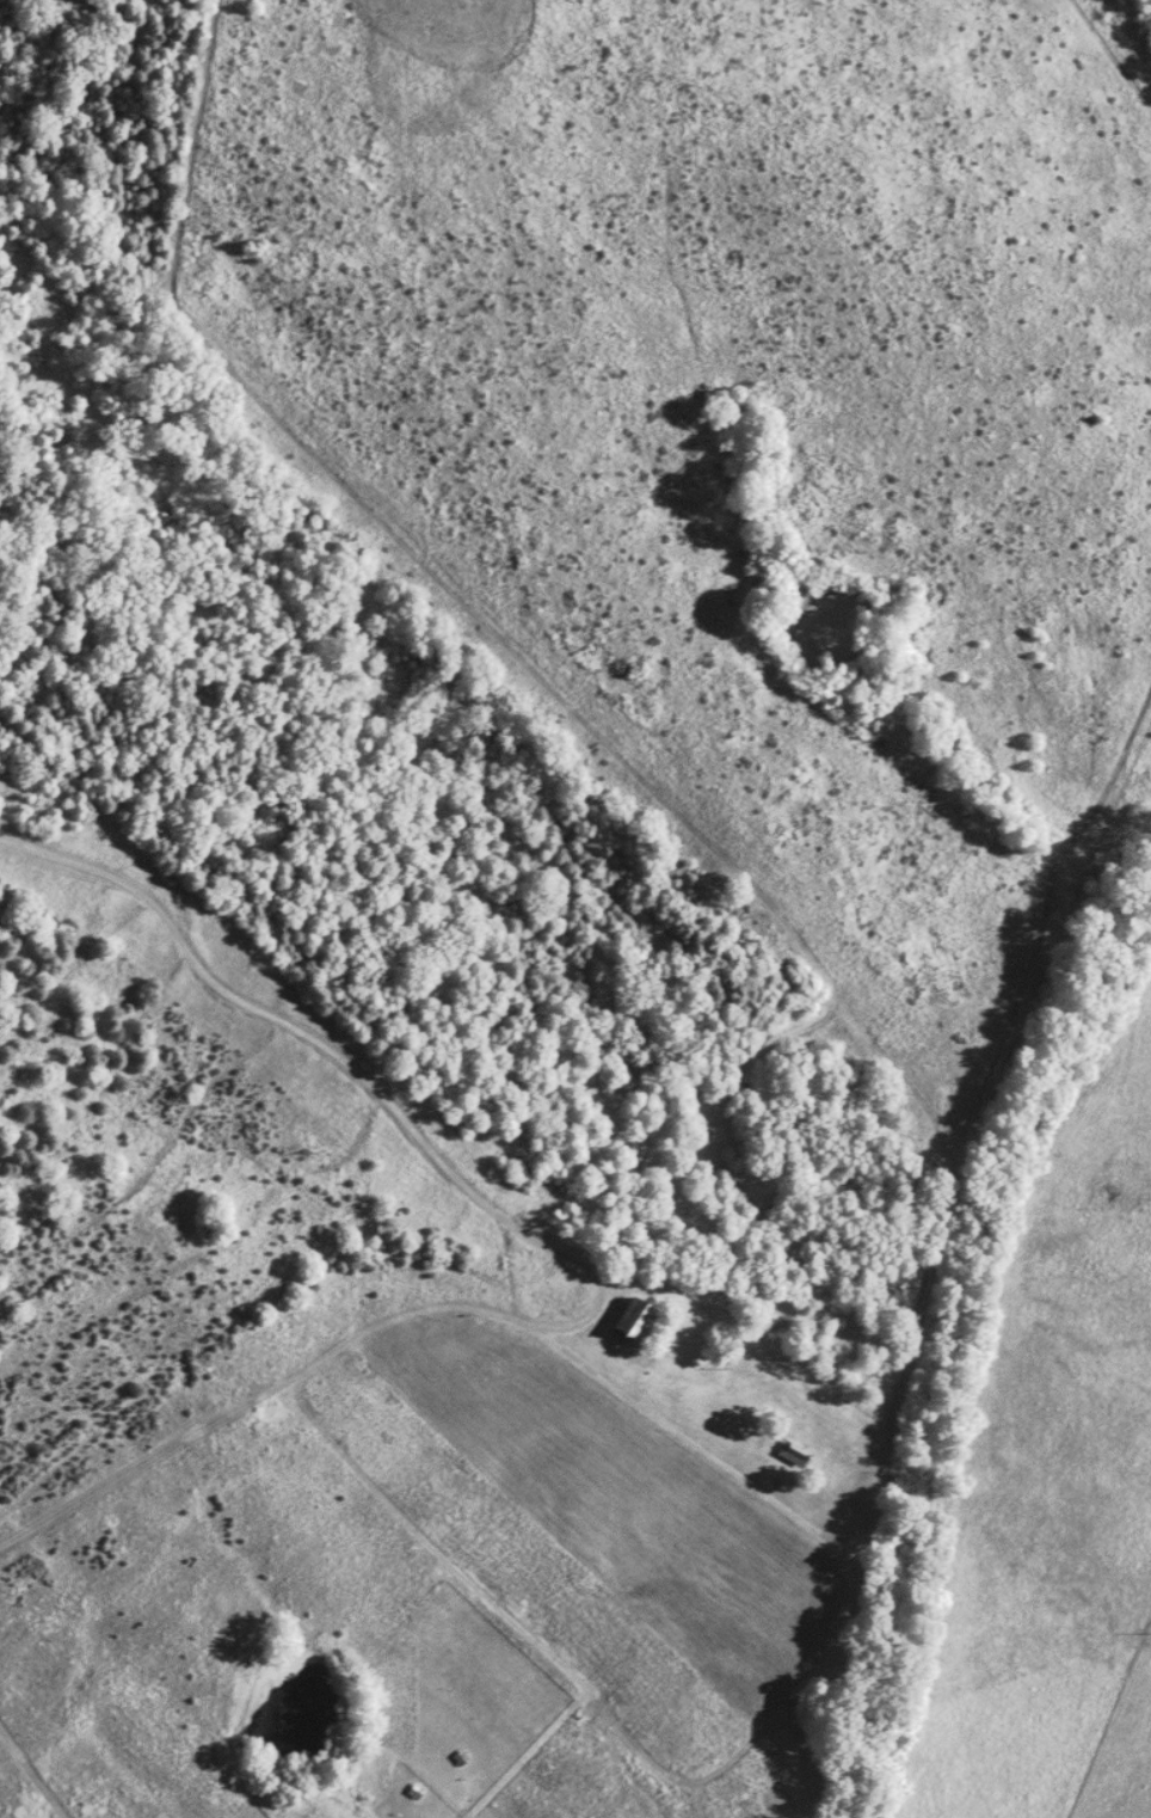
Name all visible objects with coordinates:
building: (629, 1319)
building: (790, 1454)

